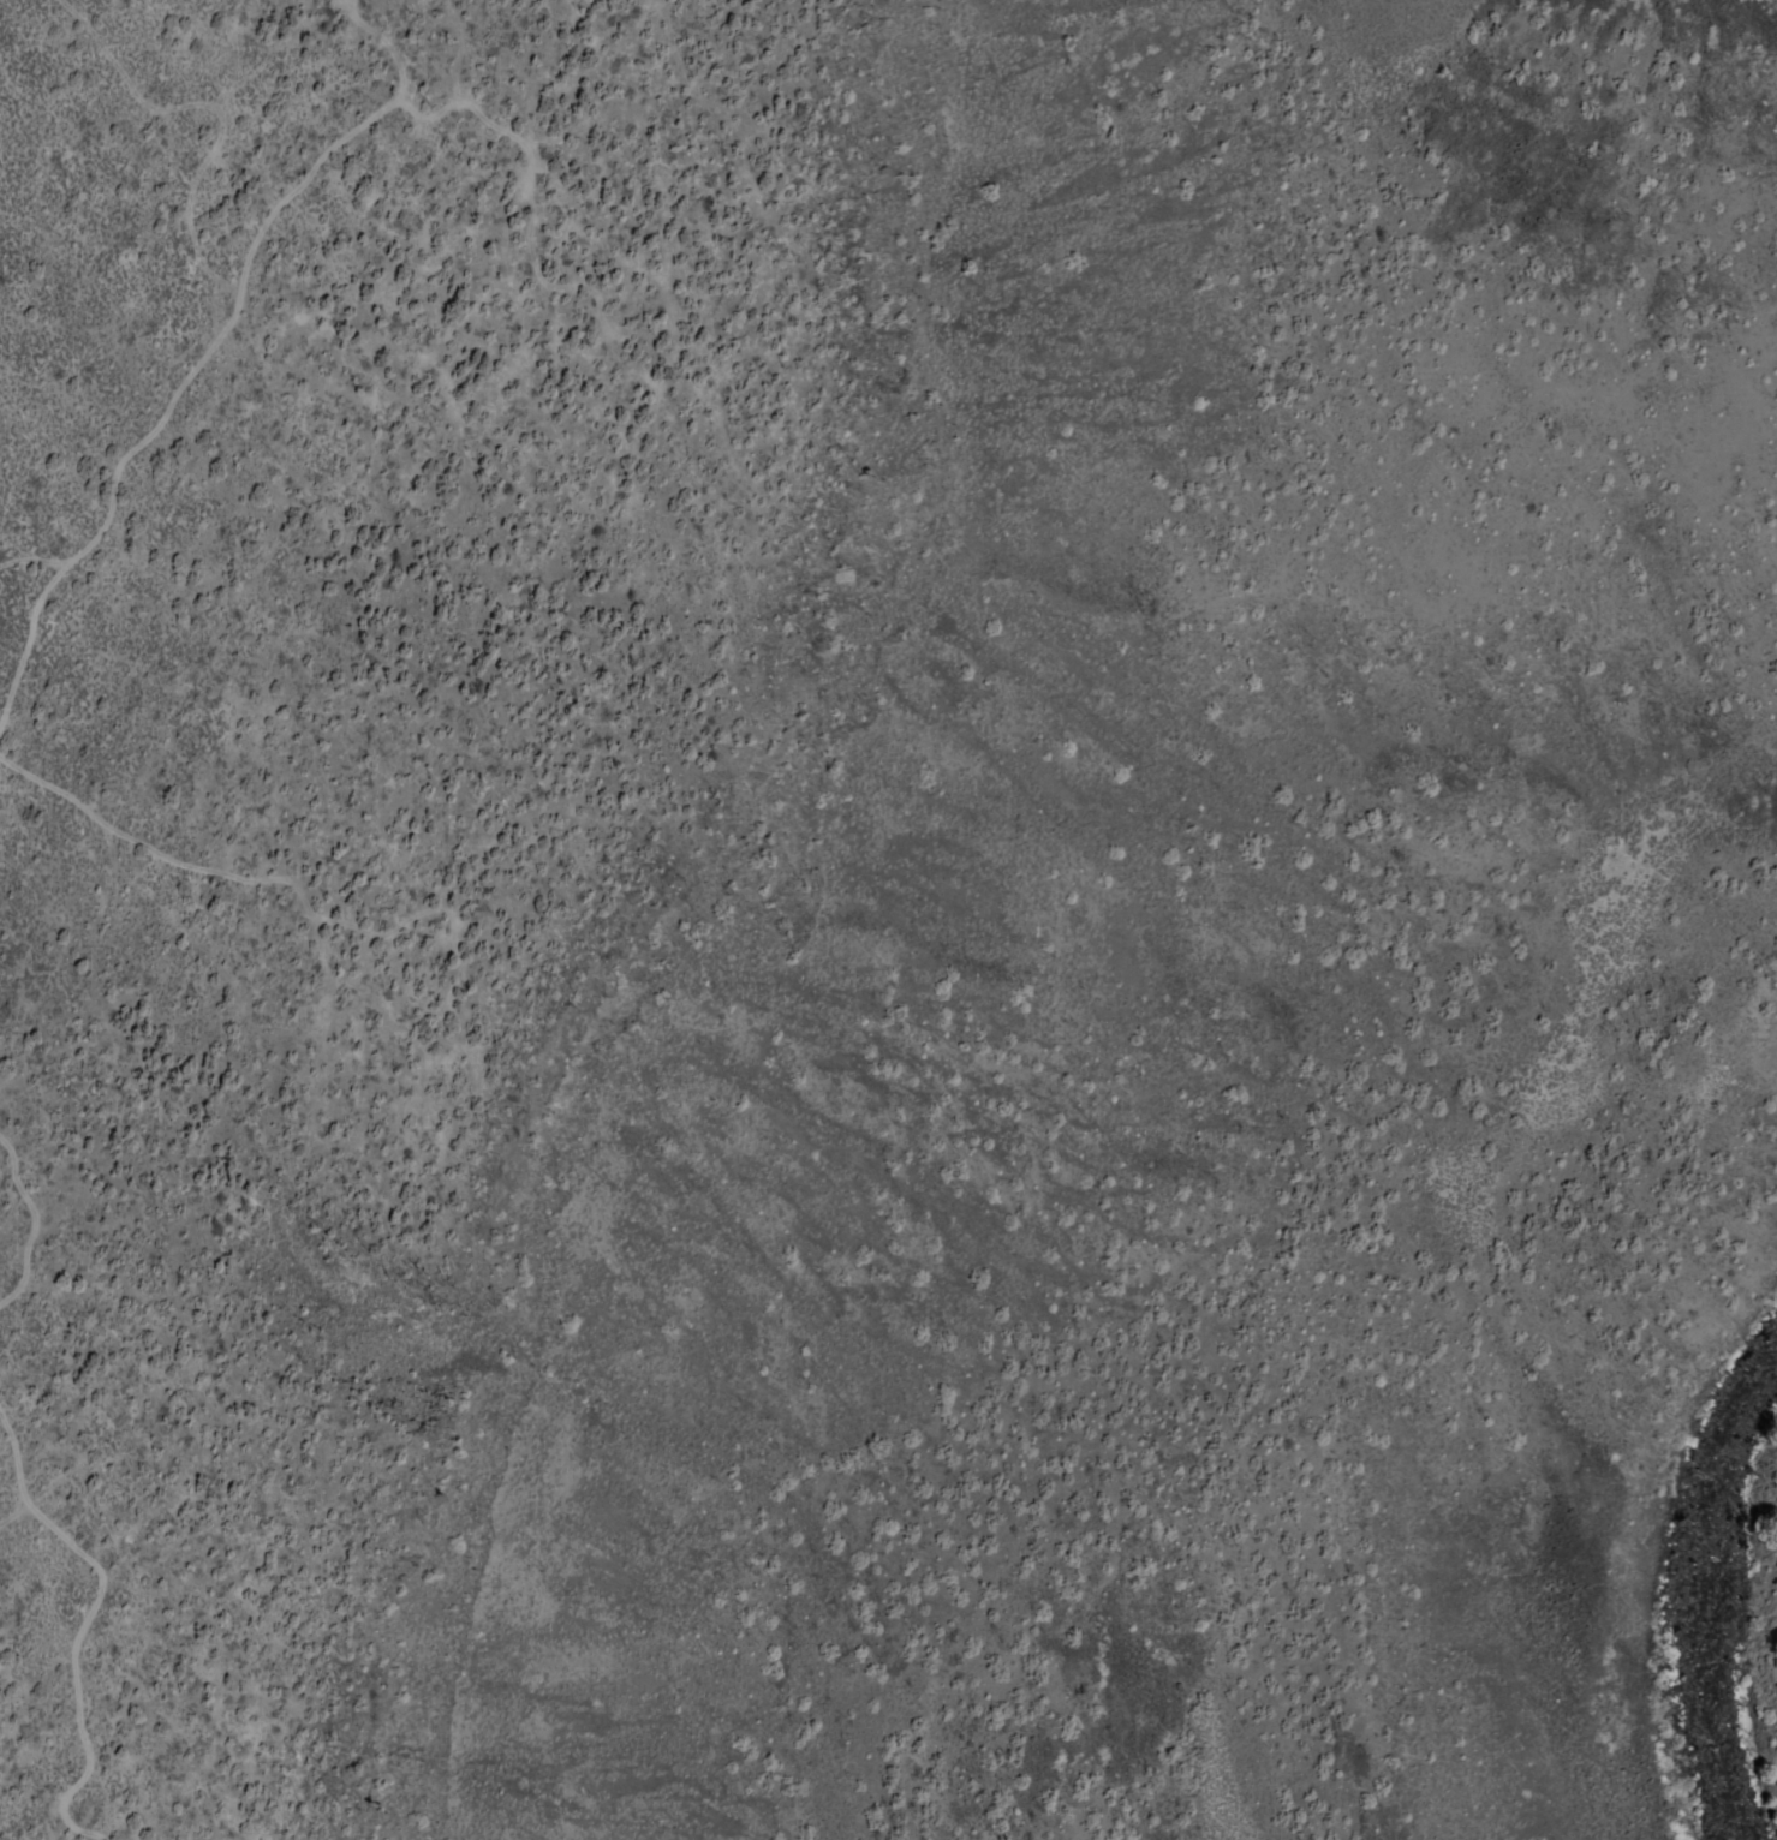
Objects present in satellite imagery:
river: (1698, 1595)

